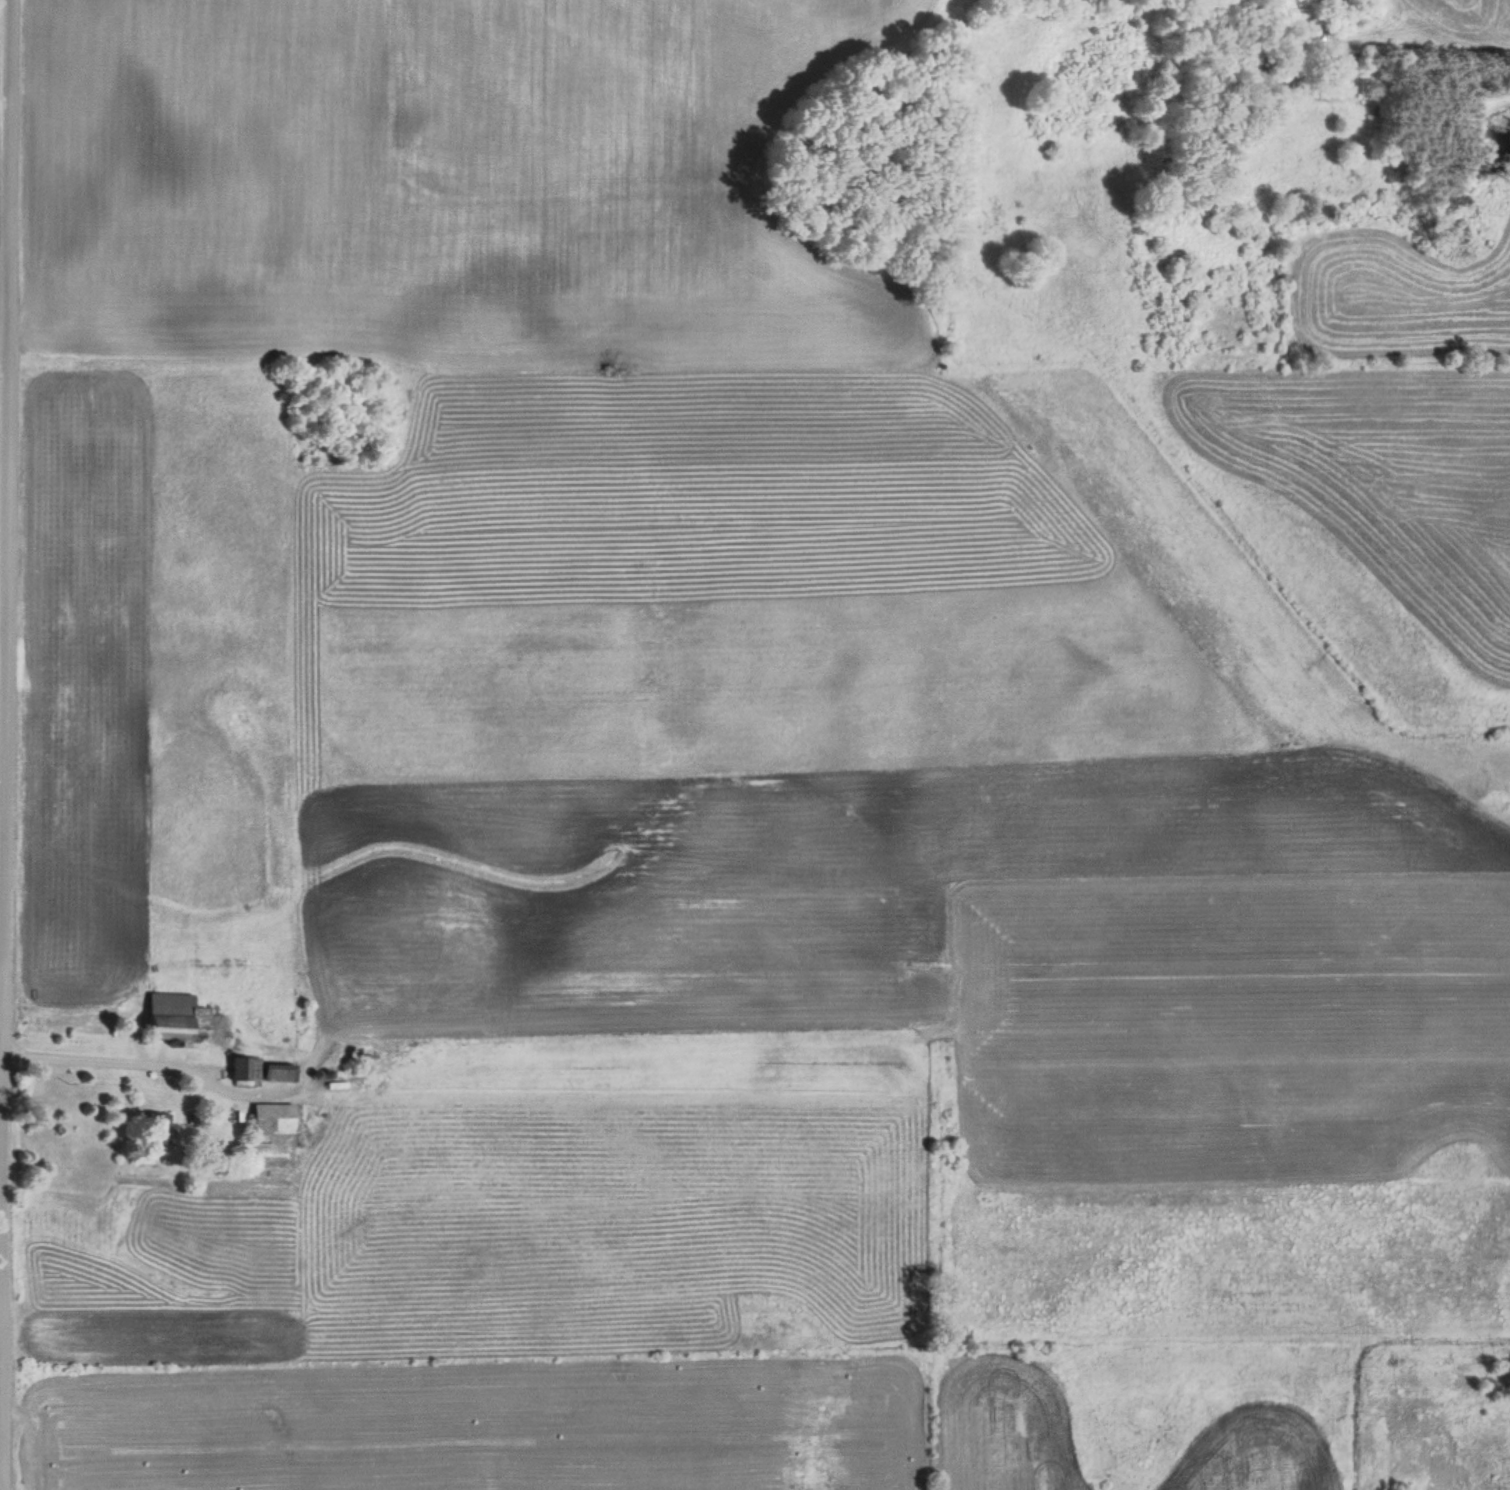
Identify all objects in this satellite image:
road: (1, 87)
building: (177, 1018)
building: (246, 1072)
building: (275, 1119)

